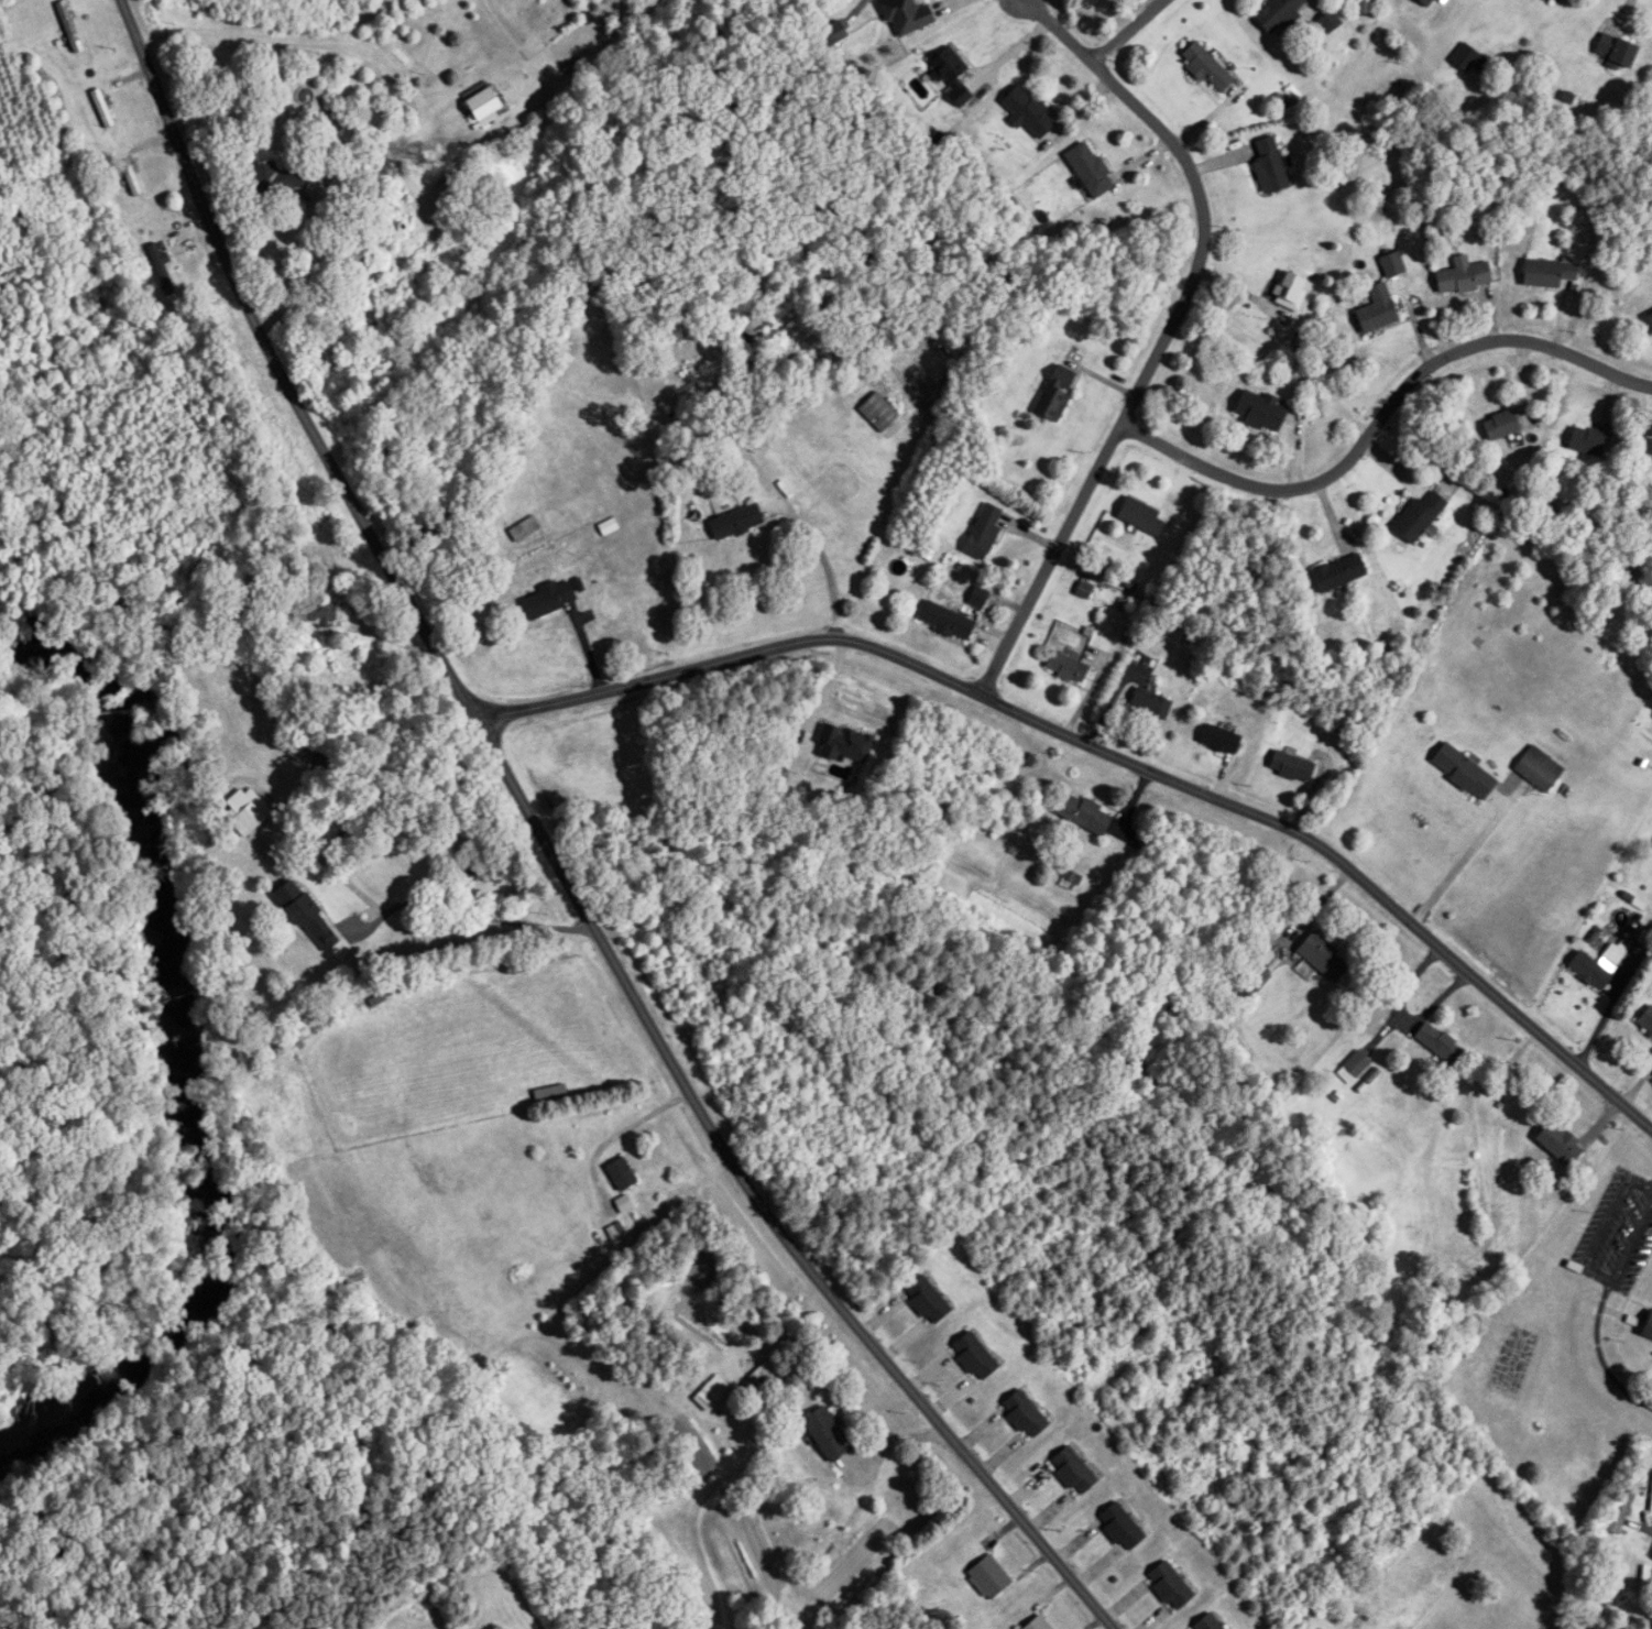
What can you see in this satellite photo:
building: (1546, 0)
building: (1423, 2)
building: (1277, 14)
building: (904, 17)
building: (1327, 21)
building: (69, 28)
road: (1126, 31)
building: (832, 34)
building: (1613, 52)
building: (1205, 67)
building: (949, 75)
building: (481, 106)
building: (101, 109)
building: (1026, 111)
building: (1269, 166)
building: (1087, 170)
building: (130, 178)
building: (275, 182)
building: (446, 192)
building: (1391, 264)
building: (1546, 274)
building: (164, 277)
building: (1462, 278)
building: (1289, 291)
building: (1376, 310)
building: (1649, 319)
road: (1169, 332)
building: (948, 345)
building: (1053, 392)
building: (1258, 411)
building: (877, 412)
road: (1380, 413)
building: (1499, 425)
building: (1586, 440)
building: (1648, 450)
building: (1418, 514)
building: (1139, 515)
building: (733, 522)
building: (524, 528)
building: (982, 532)
road: (825, 561)
building: (1336, 572)
building: (976, 597)
building: (547, 599)
building: (322, 616)
building: (944, 620)
building: (1064, 667)
building: (1149, 703)
building: (1218, 740)
building: (842, 743)
road: (1111, 753)
building: (1290, 766)
building: (1538, 768)
building: (1462, 770)
building: (248, 811)
building: (1082, 813)
road: (555, 853)
road: (1465, 855)
road: (468, 912)
building: (308, 915)
building: (1322, 958)
building: (1596, 966)
road: (709, 972)
building: (1252, 982)
road: (1616, 1001)
building: (1645, 1020)
building: (1437, 1042)
river: (189, 1058)
building: (1354, 1065)
road: (637, 1107)
building: (1557, 1144)
building: (620, 1173)
road: (1651, 1185)
road: (1651, 1190)
road: (1628, 1248)
building: (1646, 1326)
building: (972, 1356)
road: (1600, 1360)
building: (710, 1392)
building: (1022, 1414)
building: (823, 1434)
building: (1071, 1472)
road: (332, 1474)
building: (1619, 1512)
building: (1119, 1528)
road: (1643, 1534)
building: (987, 1577)
building: (1169, 1586)
building: (1206, 1622)
building: (1037, 1623)

